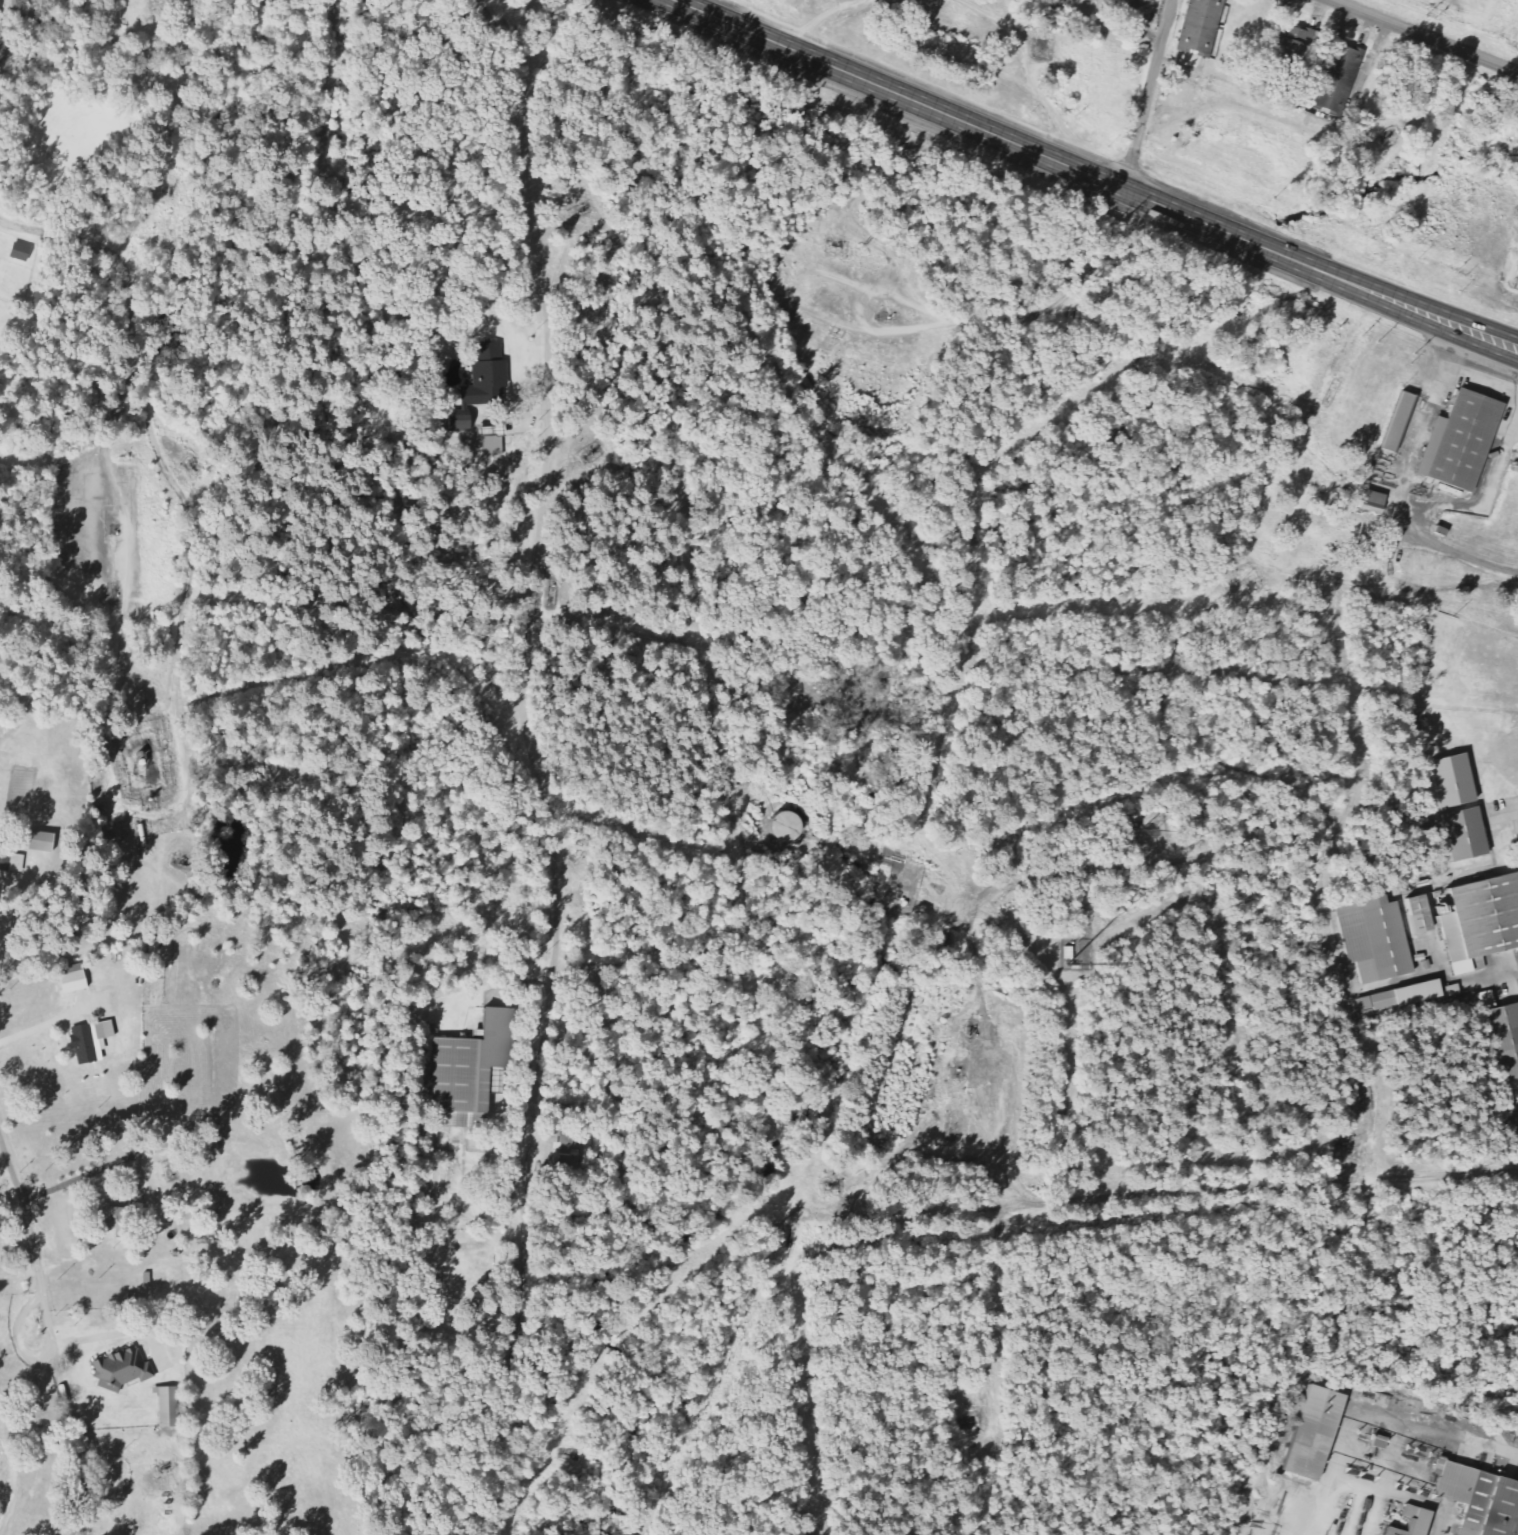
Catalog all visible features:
building: (1130, 4)
power tower: (1434, 21)
building: (1199, 27)
road: (1425, 35)
building: (1289, 42)
building: (1336, 78)
road: (1148, 95)
road: (1093, 177)
building: (18, 253)
road: (889, 330)
building: (486, 378)
road: (1482, 384)
building: (1396, 421)
building: (455, 423)
road: (1514, 426)
building: (485, 432)
building: (1458, 440)
building: (492, 446)
road: (1403, 490)
road: (1484, 492)
road: (1256, 499)
building: (1370, 502)
road: (542, 508)
road: (1510, 811)
building: (779, 827)
building: (1461, 832)
building: (43, 841)
building: (6, 861)
road: (1153, 863)
building: (1414, 903)
building: (1480, 919)
building: (1372, 937)
building: (76, 979)
building: (1405, 994)
building: (1501, 1033)
building: (93, 1041)
building: (469, 1071)
building: (1513, 1083)
building: (561, 1148)
road: (997, 1211)
road: (528, 1214)
building: (121, 1221)
road: (36, 1262)
building: (122, 1369)
road: (991, 1387)
building: (171, 1406)
building: (1311, 1431)
building: (1489, 1506)
building: (1419, 1522)

